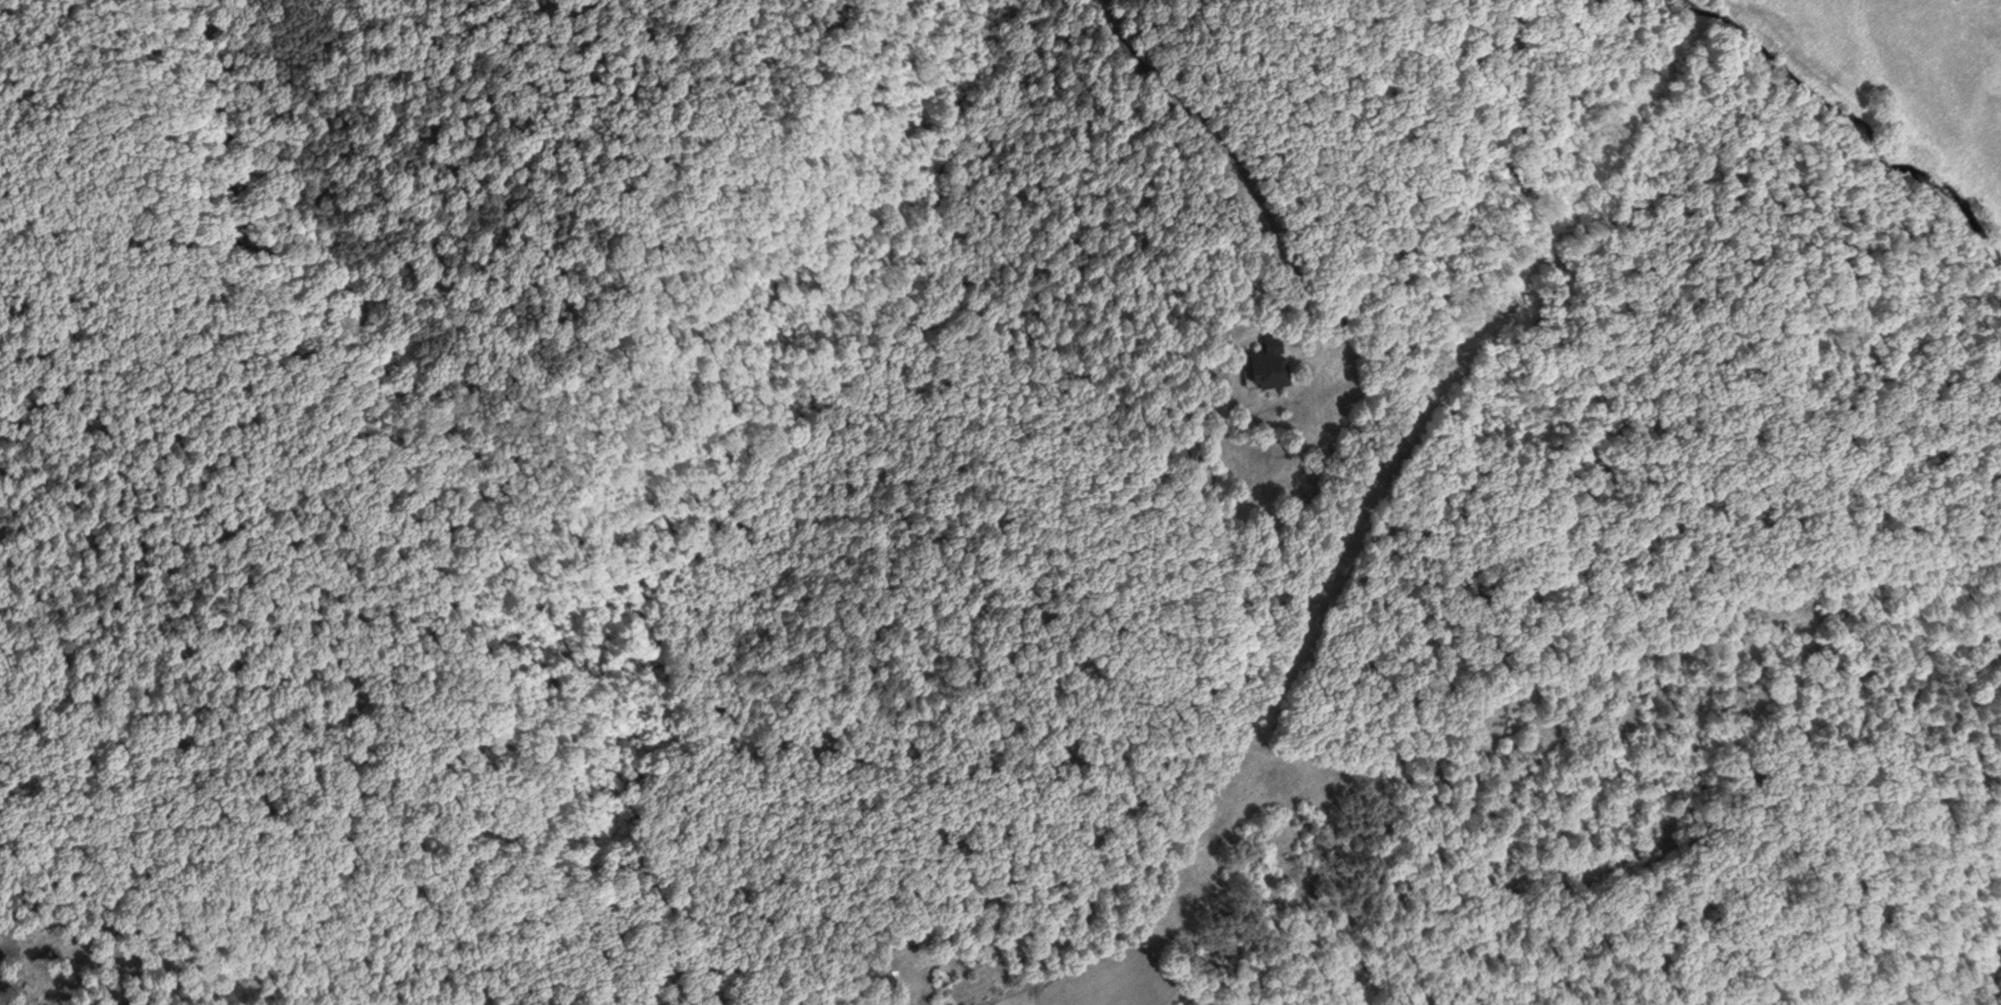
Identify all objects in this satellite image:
building: (1260, 362)
building: (937, 977)

